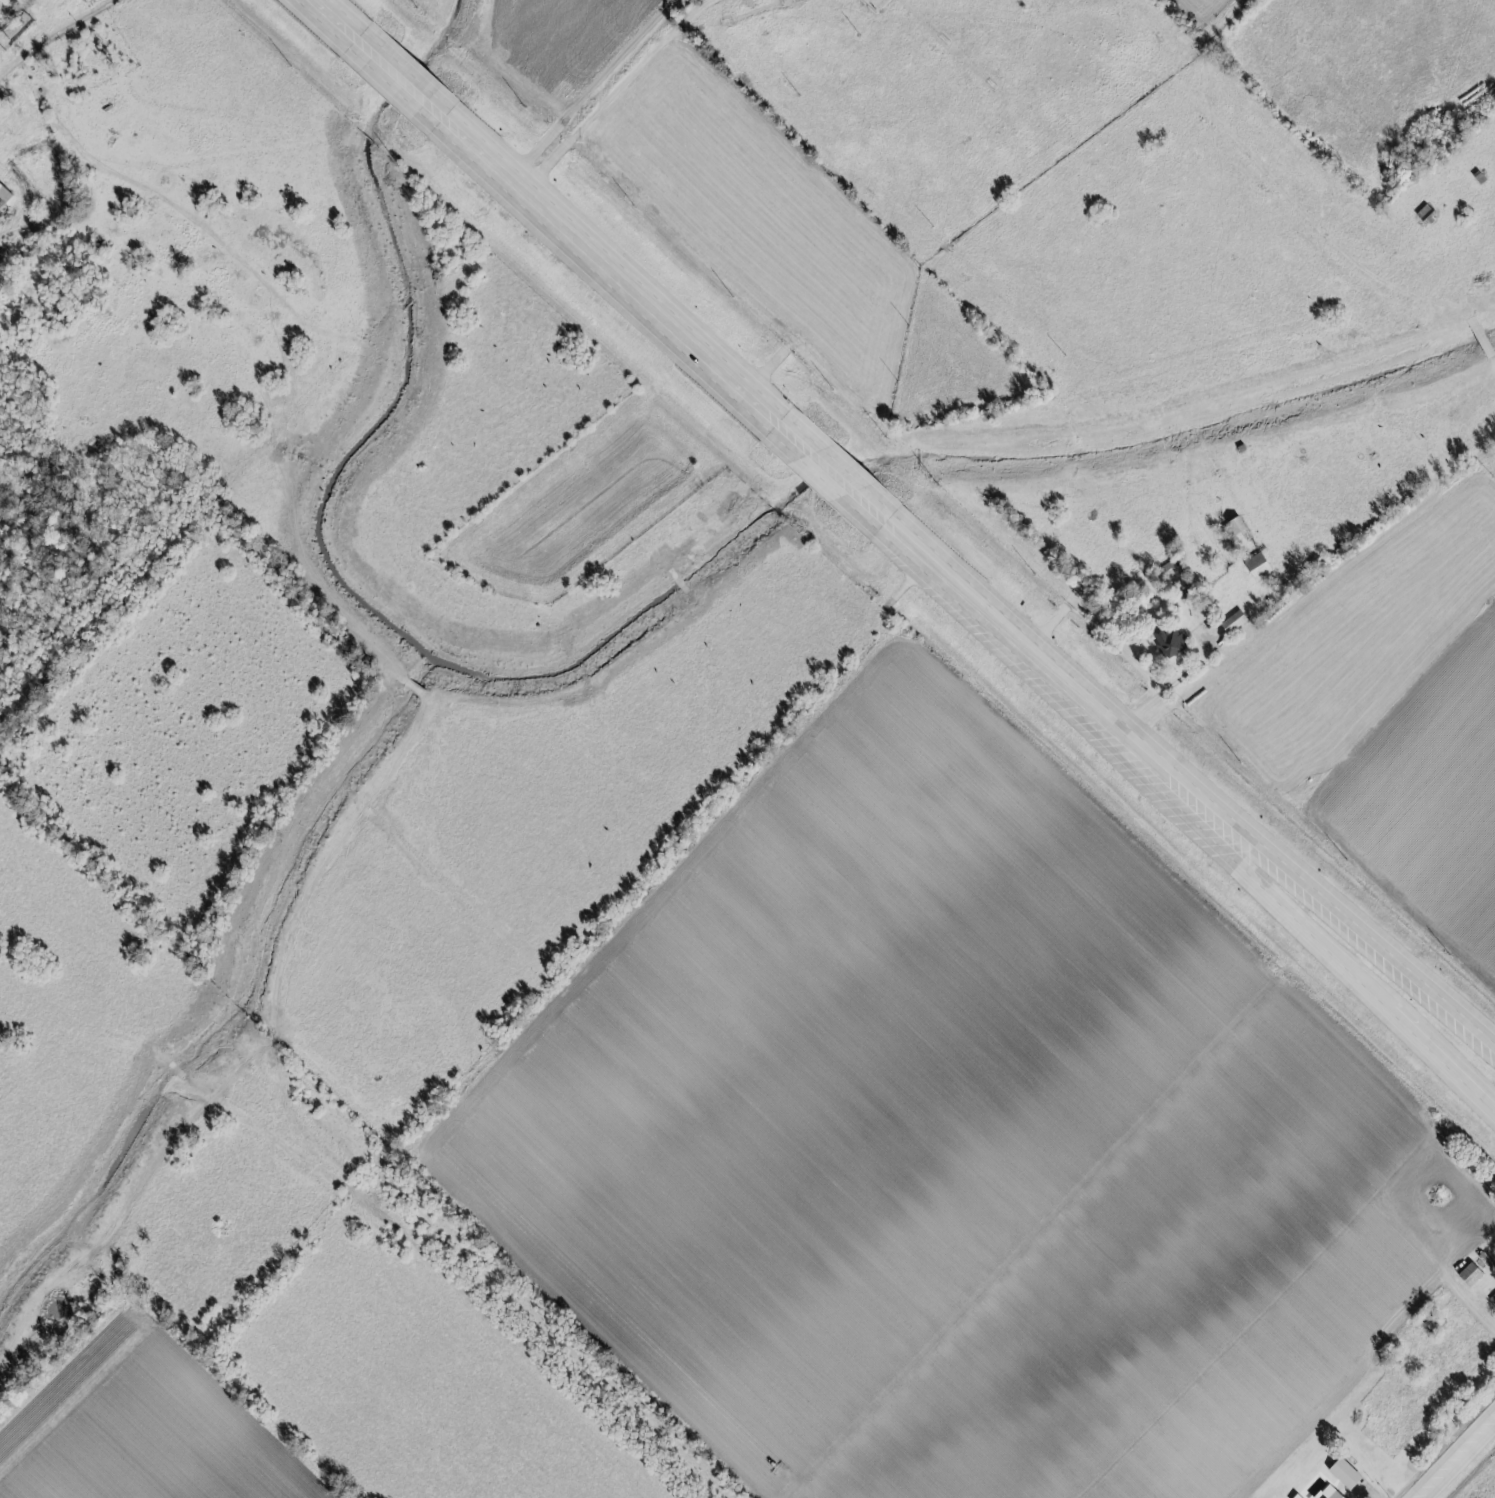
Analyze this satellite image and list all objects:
road: (54, 36)
road: (724, 369)
building: (1238, 526)
building: (1260, 566)
building: (1235, 622)
building: (1171, 642)
road: (1162, 687)
road: (1313, 885)
road: (1308, 940)
building: (1472, 1275)
building: (1492, 1299)
road: (1453, 1453)
building: (1344, 1476)
building: (1327, 1494)
building: (1337, 1495)

